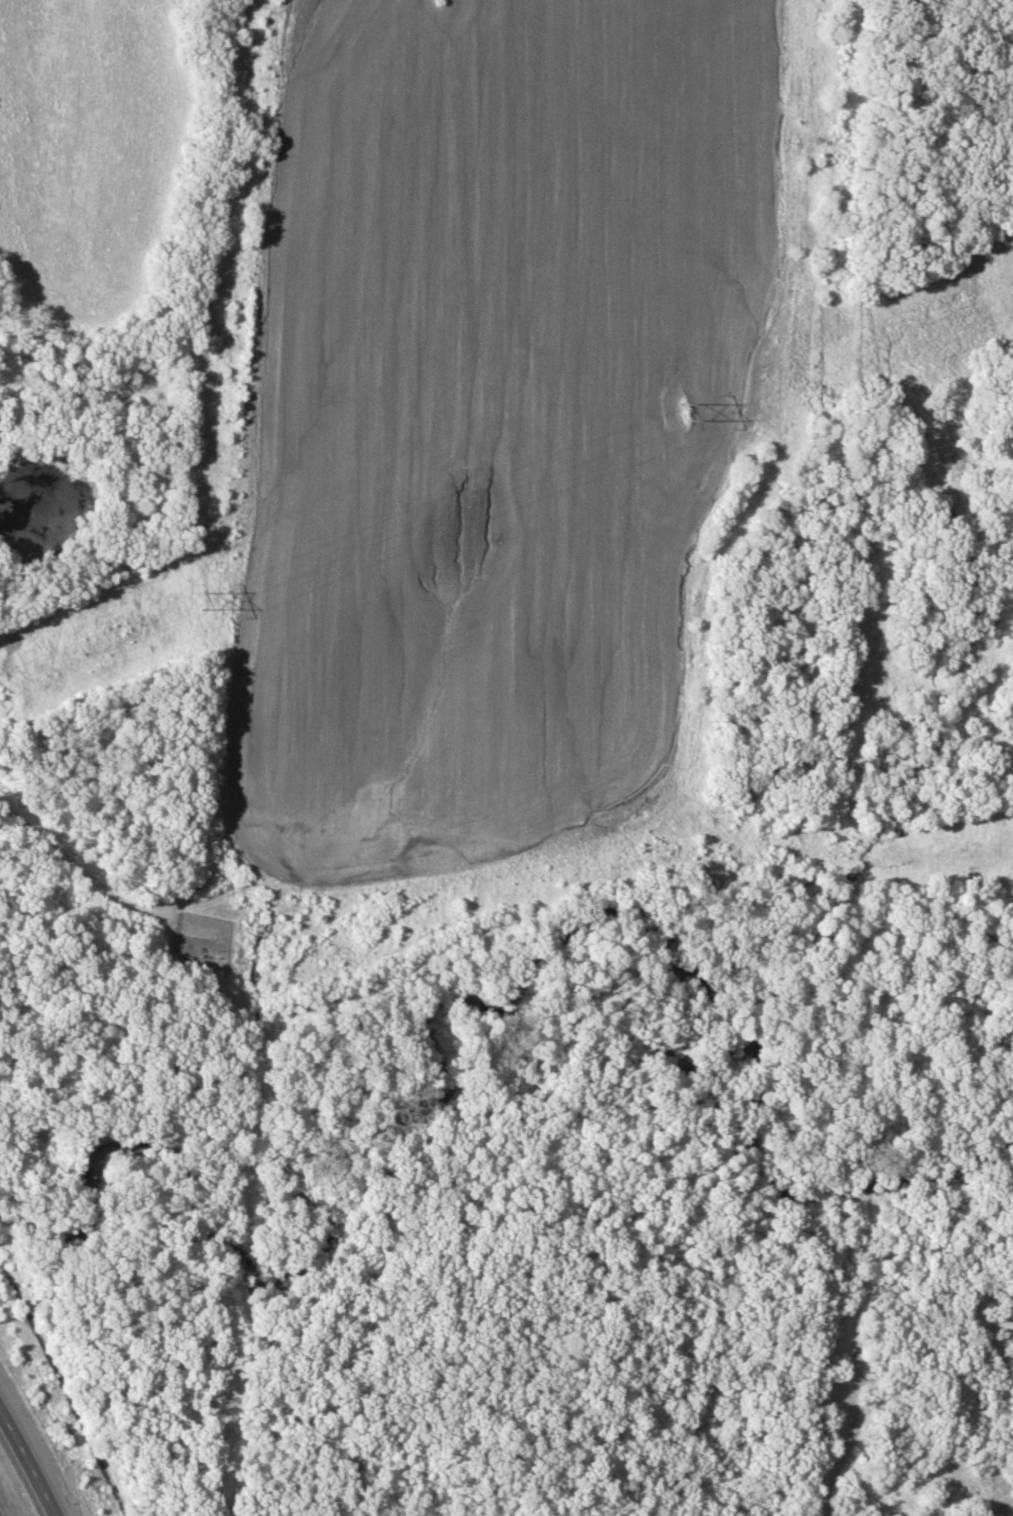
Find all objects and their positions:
power tower: (686, 410)
power tower: (197, 599)
road: (77, 866)
road: (26, 1462)

